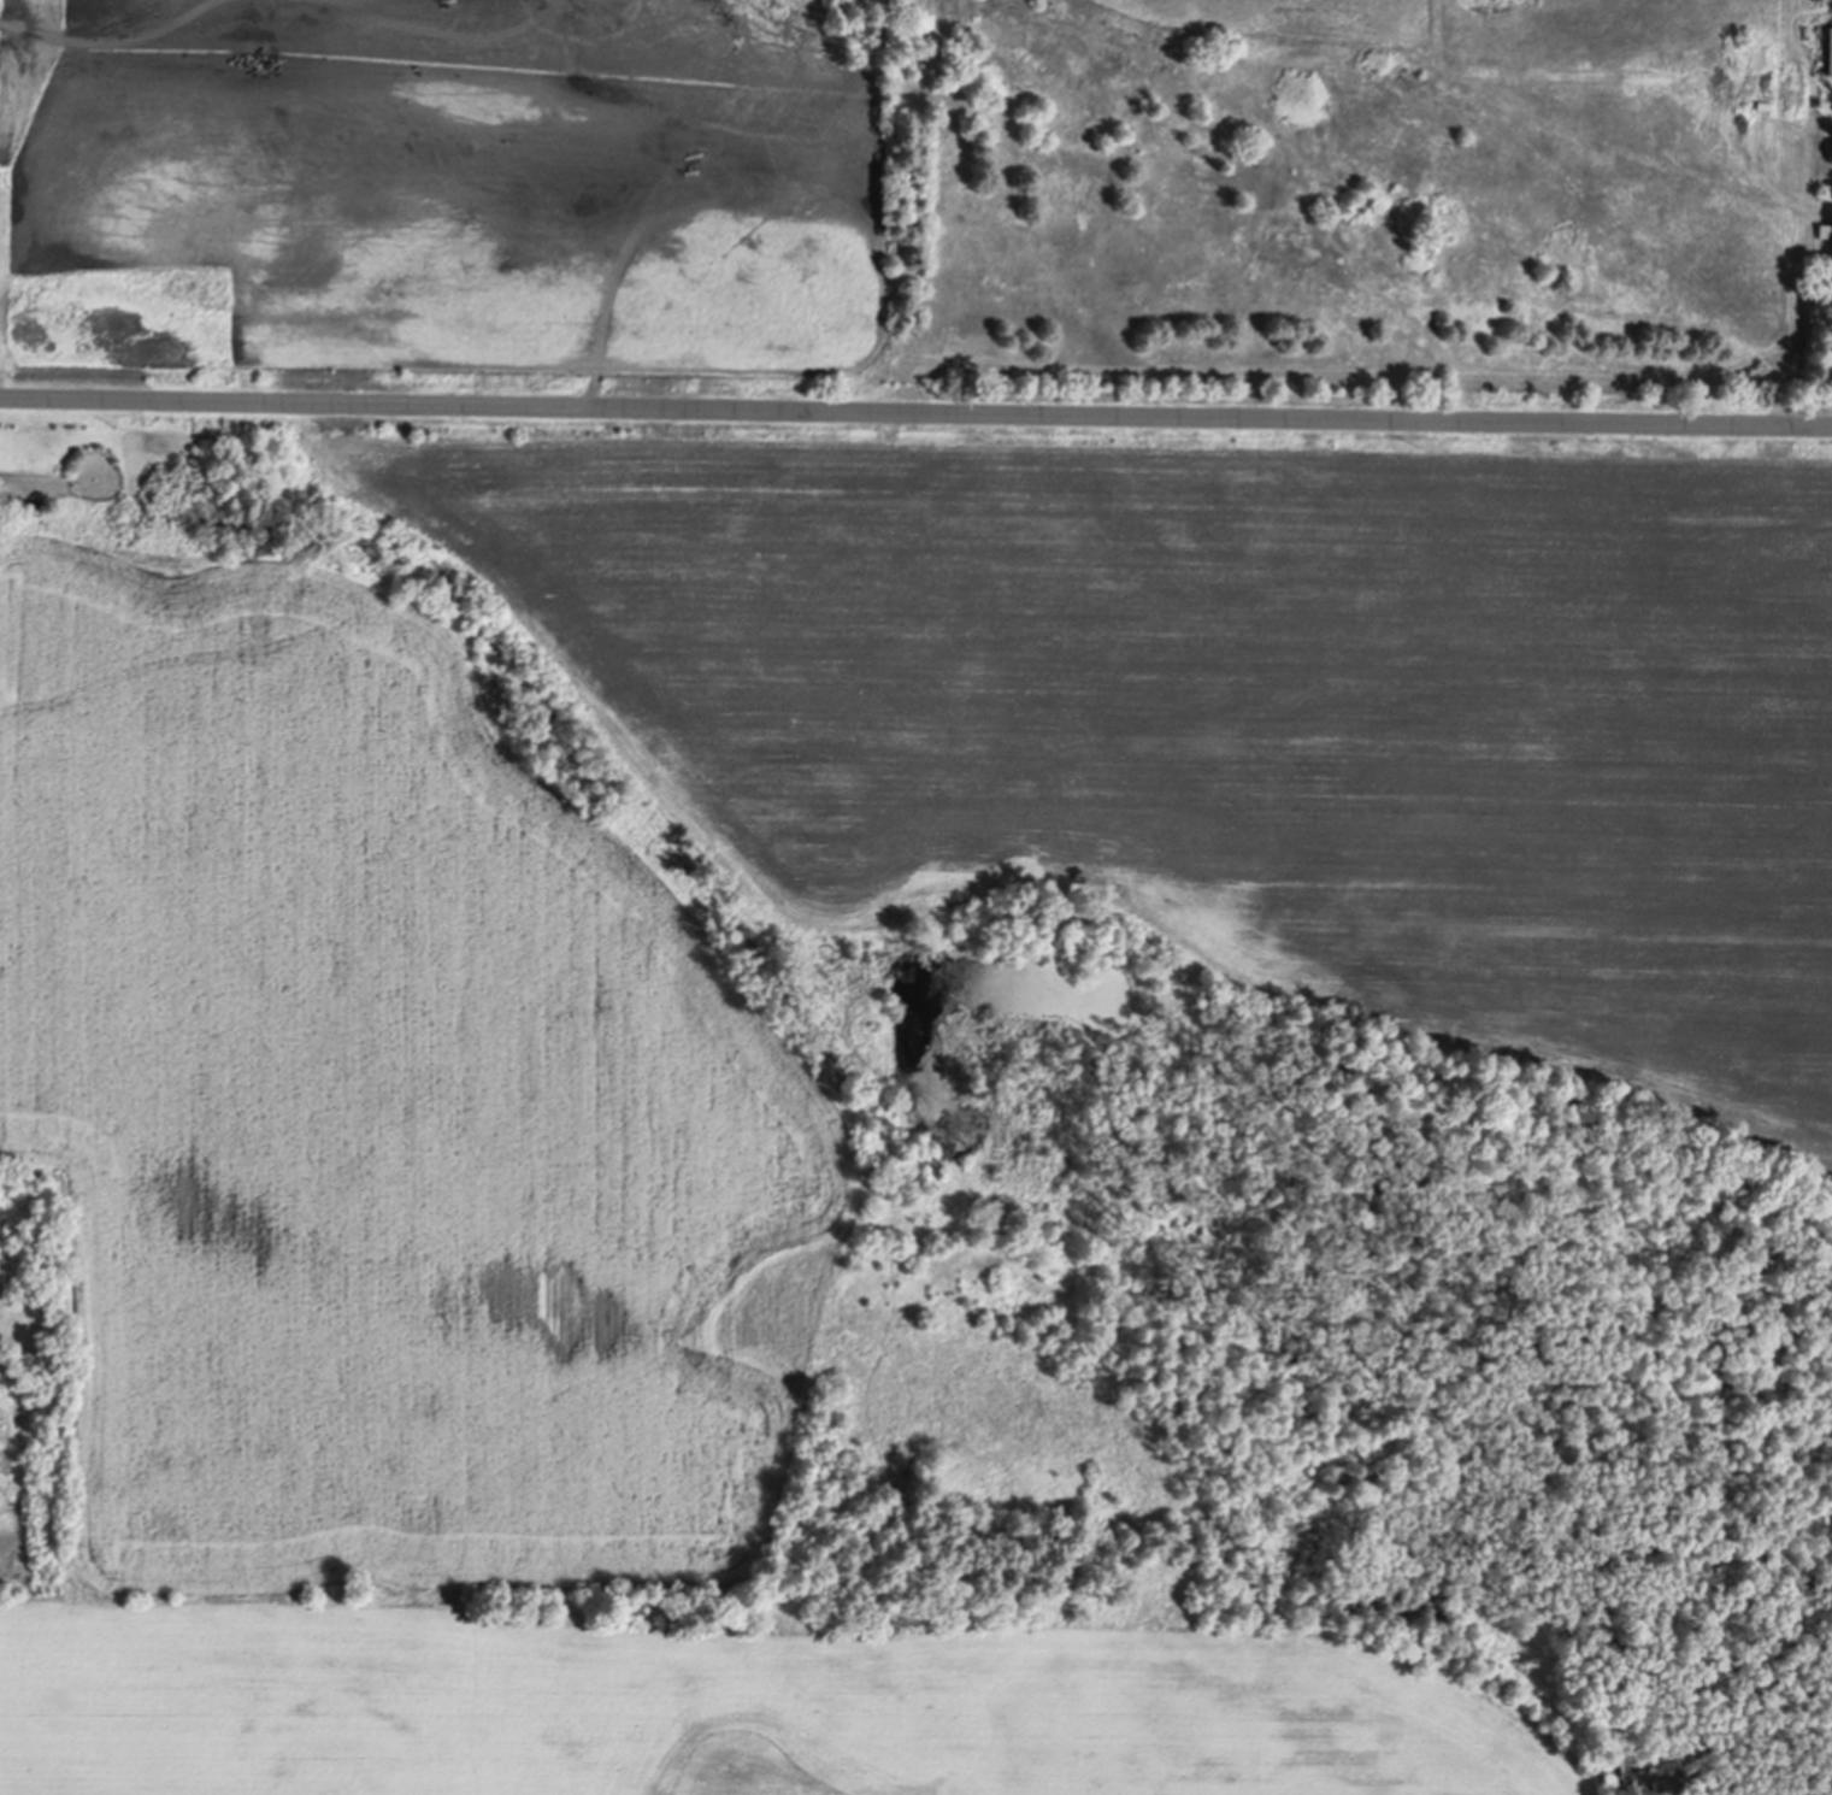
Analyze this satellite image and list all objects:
building: (1831, 49)
road: (915, 408)
building: (37, 1358)
building: (51, 1359)

